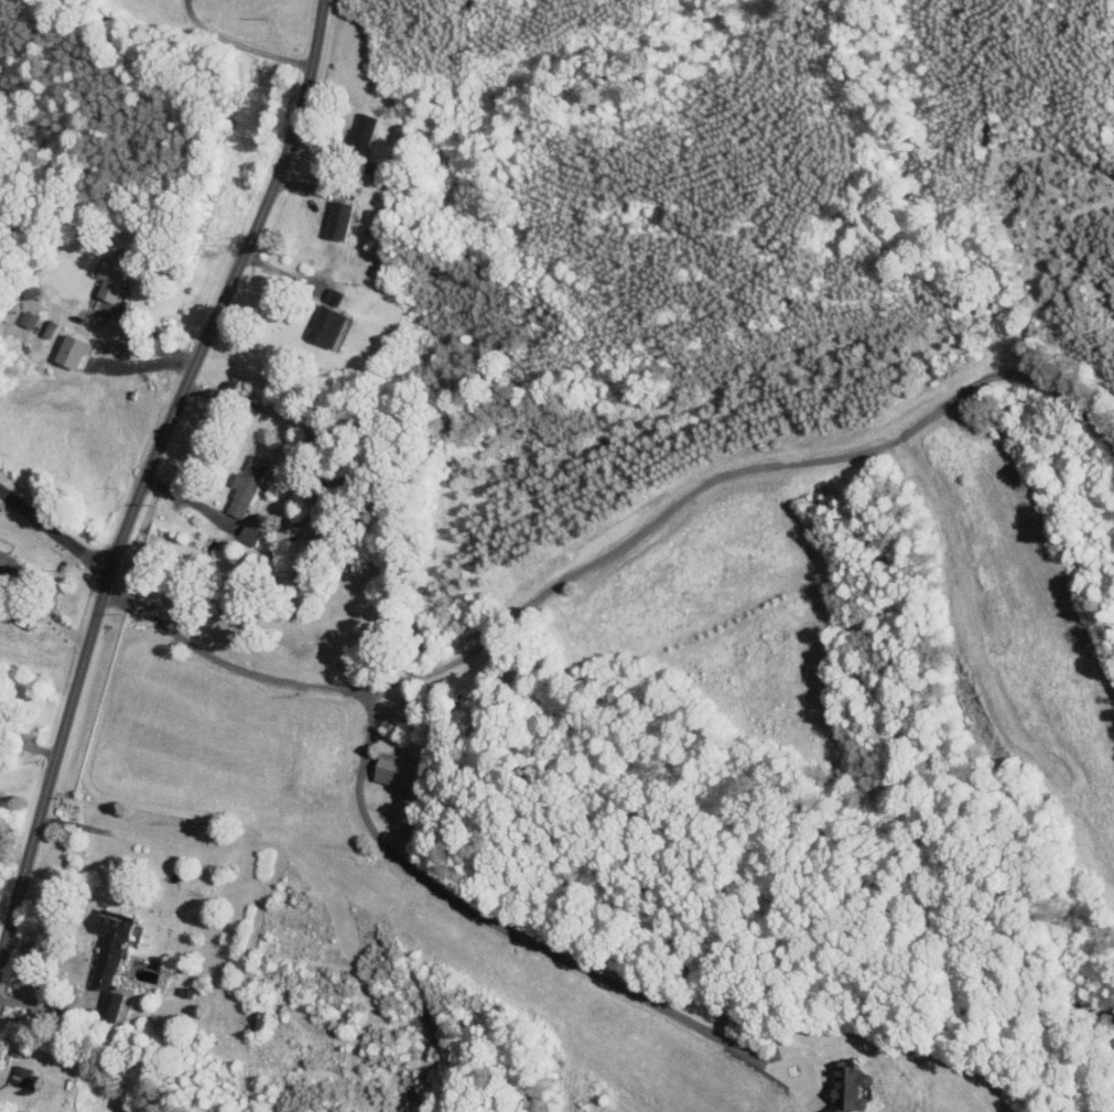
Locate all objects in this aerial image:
road: (238, 43)
building: (366, 130)
building: (342, 219)
building: (115, 276)
building: (29, 319)
building: (331, 321)
road: (149, 333)
building: (76, 350)
road: (237, 399)
road: (149, 474)
building: (250, 484)
road: (193, 503)
road: (55, 535)
road: (617, 549)
building: (11, 564)
road: (50, 602)
building: (402, 713)
building: (399, 769)
road: (508, 930)
building: (113, 958)
road: (46, 1002)
building: (23, 1075)
building: (856, 1089)

